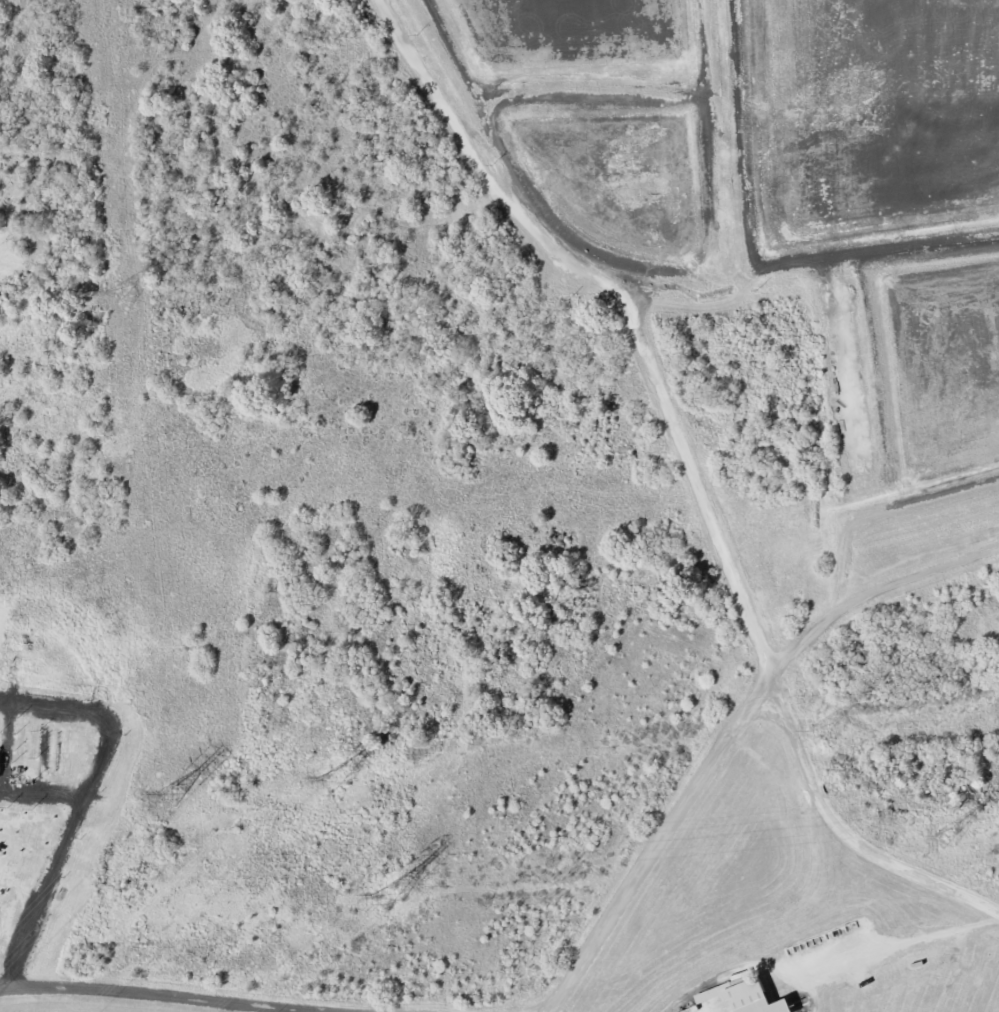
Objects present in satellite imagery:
power tower: (127, 296)
road: (690, 470)
road: (733, 734)
power tower: (823, 736)
power tower: (336, 781)
power tower: (172, 796)
power tower: (947, 839)
power tower: (389, 897)
road: (905, 951)
road: (150, 996)
building: (741, 999)

